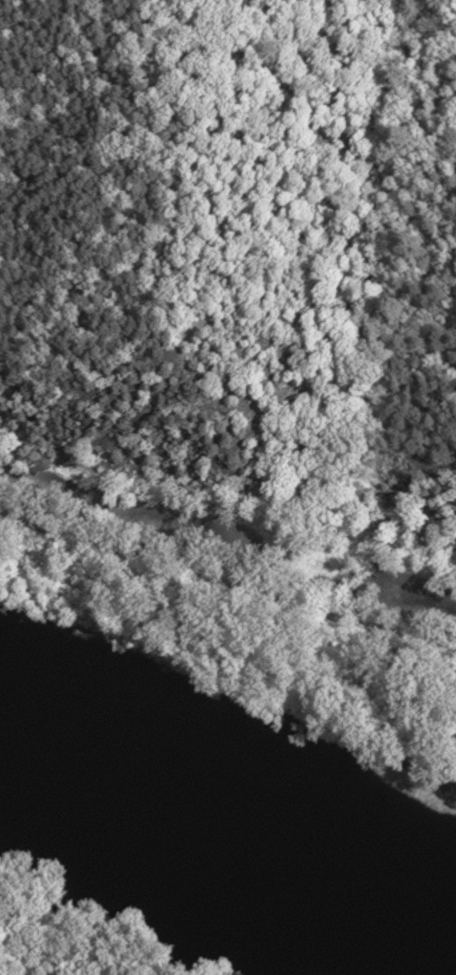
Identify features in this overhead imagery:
road: (227, 586)
river: (226, 823)

